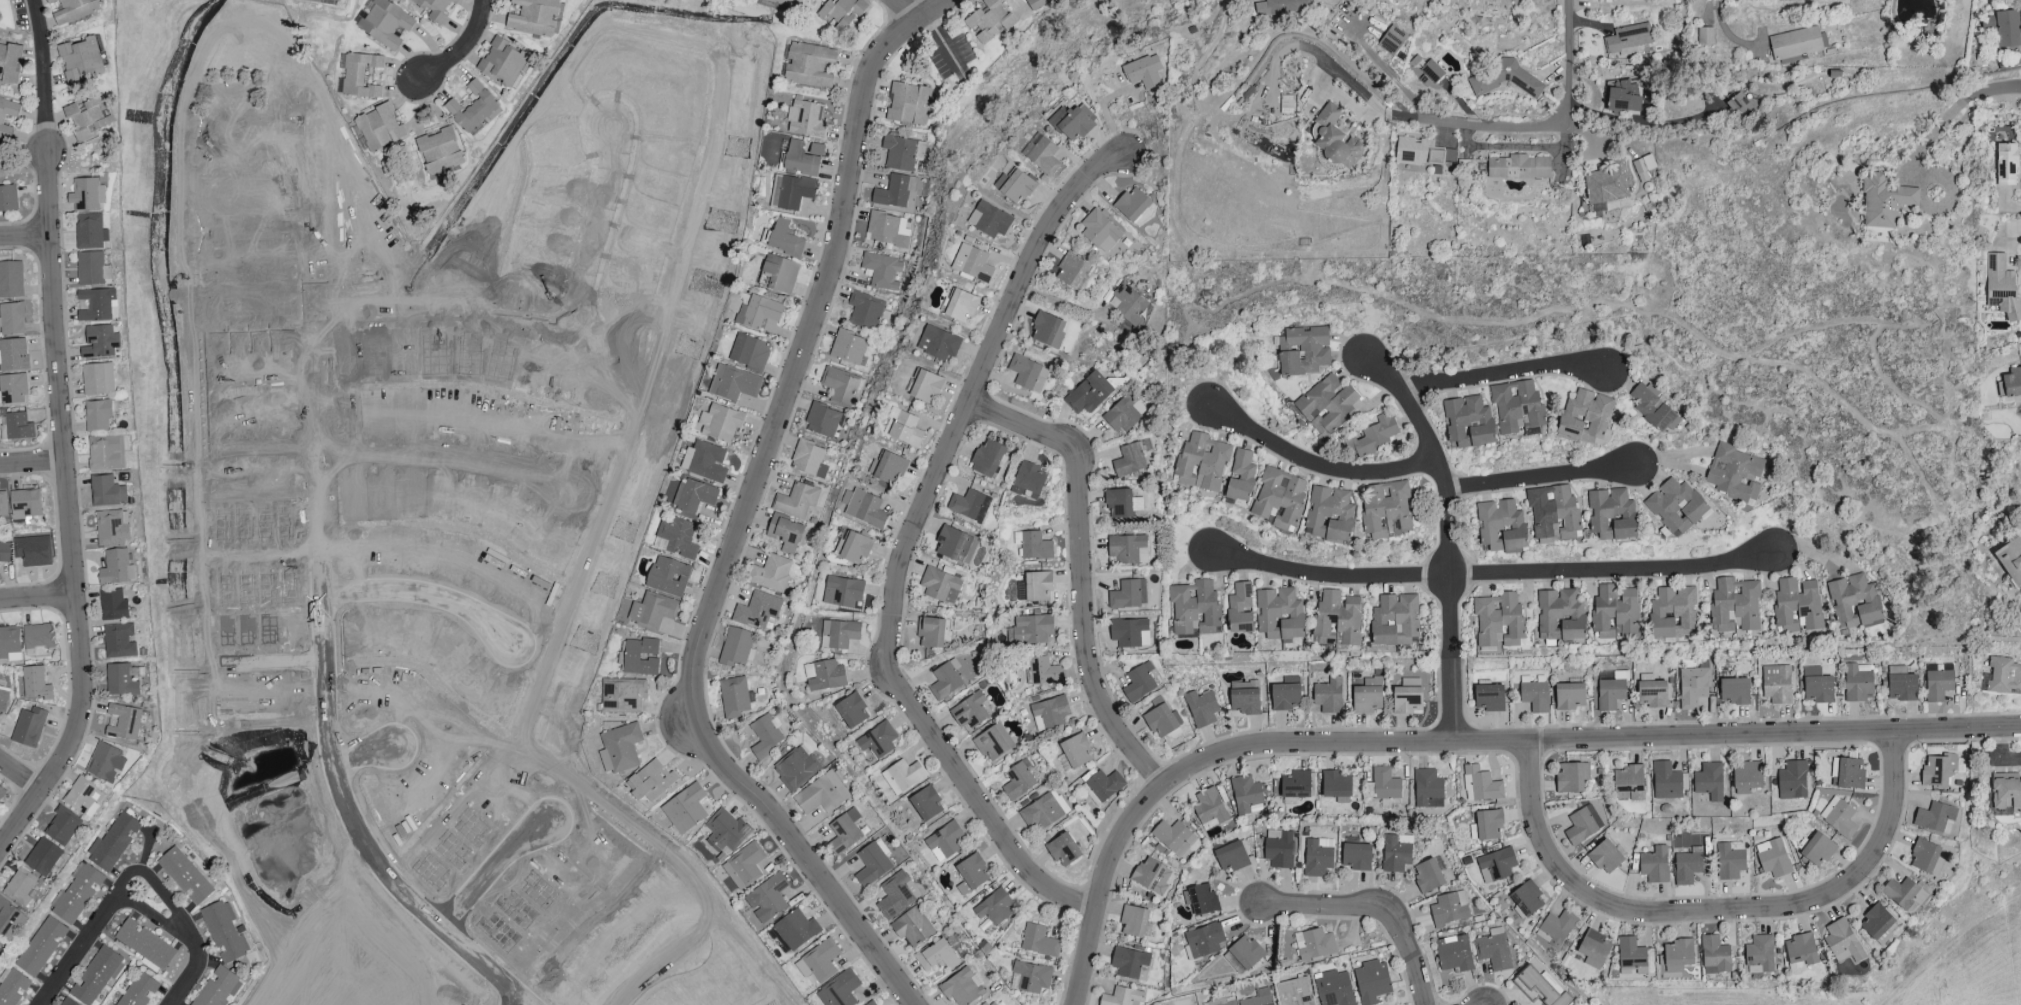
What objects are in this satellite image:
building: (336, 0)
building: (784, 2)
building: (1036, 3)
building: (1282, 7)
building: (434, 8)
building: (75, 10)
road: (910, 11)
building: (842, 13)
building: (534, 17)
building: (990, 20)
building: (383, 22)
road: (1723, 29)
building: (2003, 29)
building: (1705, 36)
building: (1627, 39)
building: (1391, 41)
building: (1795, 45)
road: (463, 48)
road: (945, 49)
building: (80, 59)
building: (503, 61)
building: (10, 62)
road: (1565, 62)
building: (808, 65)
road: (43, 66)
road: (1384, 69)
building: (1424, 71)
building: (1143, 72)
building: (360, 76)
building: (1505, 79)
road: (1987, 94)
building: (1624, 97)
building: (907, 104)
building: (1739, 106)
building: (474, 108)
road: (1398, 117)
building: (88, 118)
building: (805, 119)
building: (1, 122)
building: (1072, 122)
road: (1641, 122)
building: (379, 128)
building: (1335, 139)
road: (1931, 139)
building: (816, 149)
building: (439, 150)
building: (901, 153)
building: (1423, 154)
building: (1042, 155)
building: (800, 160)
building: (1519, 167)
building: (1606, 184)
building: (1015, 185)
building: (790, 192)
building: (86, 195)
building: (8, 199)
building: (1884, 202)
building: (1133, 204)
building: (989, 220)
building: (887, 230)
building: (1100, 231)
building: (90, 232)
road: (25, 239)
building: (784, 239)
building: (972, 264)
building: (92, 269)
building: (1071, 270)
building: (882, 271)
building: (780, 273)
building: (11, 280)
building: (2001, 286)
building: (96, 304)
building: (1129, 304)
building: (961, 305)
road: (1068, 306)
building: (865, 310)
building: (758, 312)
road: (543, 317)
building: (12, 319)
building: (1048, 330)
road: (265, 337)
building: (100, 342)
building: (938, 343)
building: (847, 348)
building: (1303, 351)
building: (749, 352)
building: (13, 355)
building: (1028, 374)
road: (1501, 374)
building: (97, 379)
building: (733, 384)
building: (2010, 384)
building: (926, 386)
building: (841, 387)
building: (1088, 394)
building: (1326, 404)
building: (1517, 407)
building: (1652, 408)
building: (1124, 413)
building: (98, 414)
building: (1584, 417)
building: (821, 420)
building: (720, 423)
building: (1468, 423)
building: (18, 427)
building: (906, 430)
building: (1374, 436)
road: (270, 451)
building: (106, 452)
building: (988, 458)
building: (1131, 458)
building: (809, 460)
building: (704, 461)
road: (34, 463)
road: (1321, 465)
road: (448, 466)
building: (887, 467)
building: (1734, 474)
building: (1241, 477)
road: (1541, 478)
building: (1028, 481)
building: (106, 490)
building: (693, 496)
building: (1280, 499)
building: (796, 501)
building: (24, 503)
building: (1119, 503)
building: (3, 504)
building: (966, 504)
road: (71, 507)
building: (1675, 507)
building: (863, 508)
building: (1385, 510)
building: (1552, 513)
building: (1329, 515)
building: (1611, 515)
road: (747, 516)
building: (111, 527)
building: (1501, 527)
building: (785, 533)
road: (1451, 536)
road: (909, 543)
building: (955, 545)
building: (1033, 546)
building: (854, 548)
building: (1128, 549)
building: (32, 550)
building: (4, 552)
road: (275, 556)
building: (2011, 560)
building: (115, 567)
building: (770, 573)
road: (1085, 573)
road: (1496, 574)
building: (668, 576)
building: (940, 586)
building: (1035, 587)
building: (842, 592)
building: (1128, 595)
road: (39, 599)
building: (1853, 600)
building: (112, 604)
road: (425, 605)
building: (1735, 606)
building: (1797, 606)
building: (1195, 608)
building: (1240, 609)
building: (652, 611)
building: (757, 611)
building: (1672, 611)
building: (1615, 612)
building: (1279, 614)
building: (1560, 615)
road: (327, 616)
building: (1338, 617)
building: (1395, 620)
building: (1499, 621)
building: (1032, 630)
building: (930, 633)
building: (1130, 633)
building: (839, 634)
building: (38, 635)
building: (118, 640)
building: (10, 644)
road: (279, 654)
building: (638, 657)
building: (1043, 672)
building: (824, 676)
building: (2004, 676)
building: (122, 679)
building: (945, 680)
building: (1139, 682)
building: (35, 683)
building: (1776, 684)
building: (1856, 684)
building: (1937, 685)
building: (1693, 686)
building: (1817, 686)
building: (1900, 687)
building: (1611, 691)
building: (1734, 691)
building: (1652, 694)
building: (1534, 695)
building: (622, 696)
building: (1328, 696)
building: (1367, 696)
building: (1569, 696)
building: (734, 697)
building: (1285, 697)
building: (1245, 698)
building: (1489, 698)
building: (3, 699)
building: (1407, 700)
building: (1201, 708)
building: (852, 711)
building: (970, 712)
building: (1049, 713)
building: (1161, 719)
building: (123, 722)
building: (28, 727)
building: (766, 736)
building: (877, 741)
building: (993, 742)
road: (1467, 743)
building: (619, 748)
road: (367, 753)
building: (1074, 753)
building: (105, 763)
building: (796, 769)
building: (1938, 771)
building: (1847, 773)
building: (906, 775)
road: (22, 777)
building: (1571, 777)
building: (1747, 778)
building: (1793, 780)
building: (650, 781)
building: (1018, 781)
building: (1709, 781)
building: (1666, 782)
building: (1628, 783)
building: (1296, 784)
building: (1482, 784)
building: (1335, 785)
building: (1103, 786)
building: (1427, 789)
building: (2, 792)
building: (821, 794)
building: (2006, 794)
building: (1246, 796)
building: (83, 798)
building: (926, 804)
building: (1210, 808)
building: (685, 809)
building: (1041, 809)
building: (1838, 817)
building: (1935, 818)
building: (1487, 825)
building: (1582, 825)
building: (62, 826)
building: (725, 831)
building: (844, 832)
building: (1174, 838)
building: (945, 840)
building: (113, 842)
building: (1279, 849)
building: (1816, 849)
building: (1062, 850)
building: (1396, 853)
building: (1232, 856)
building: (1357, 856)
building: (43, 857)
building: (1318, 857)
building: (1605, 857)
building: (1927, 857)
building: (1773, 858)
building: (1729, 860)
building: (872, 863)
building: (1495, 865)
building: (1654, 865)
building: (744, 866)
building: (1686, 868)
building: (971, 874)
road: (477, 875)
building: (185, 876)
building: (1151, 876)
building: (1427, 876)
building: (21, 887)
road: (135, 892)
building: (76, 894)
building: (896, 895)
building: (1904, 895)
building: (767, 898)
building: (1526, 899)
building: (1201, 900)
building: (993, 908)
building: (1449, 909)
road: (1718, 909)
road: (1374, 911)
building: (7, 918)
building: (1133, 921)
building: (1876, 922)
road: (1953, 923)
building: (912, 927)
building: (1555, 928)
building: (794, 931)
building: (224, 932)
building: (1204, 940)
building: (1038, 941)
building: (1842, 941)
building: (145, 944)
building: (1314, 945)
building: (41, 946)
building: (1493, 949)
building: (1594, 950)
building: (1801, 950)
building: (1453, 954)
building: (1631, 955)
building: (1759, 955)
building: (936, 956)
building: (1676, 956)
building: (1714, 956)
building: (818, 962)
building: (1129, 962)
road: (651, 971)
building: (96, 976)
building: (1030, 978)
building: (1372, 982)
building: (12, 987)
building: (1541, 987)
building: (217, 988)
building: (962, 988)
building: (1333, 988)
building: (138, 990)
building: (839, 990)
building: (1294, 992)
building: (1122, 997)
road: (516, 998)
building: (1259, 998)
building: (67, 1002)
building: (1222, 1002)
building: (871, 1003)
building: (989, 1003)

